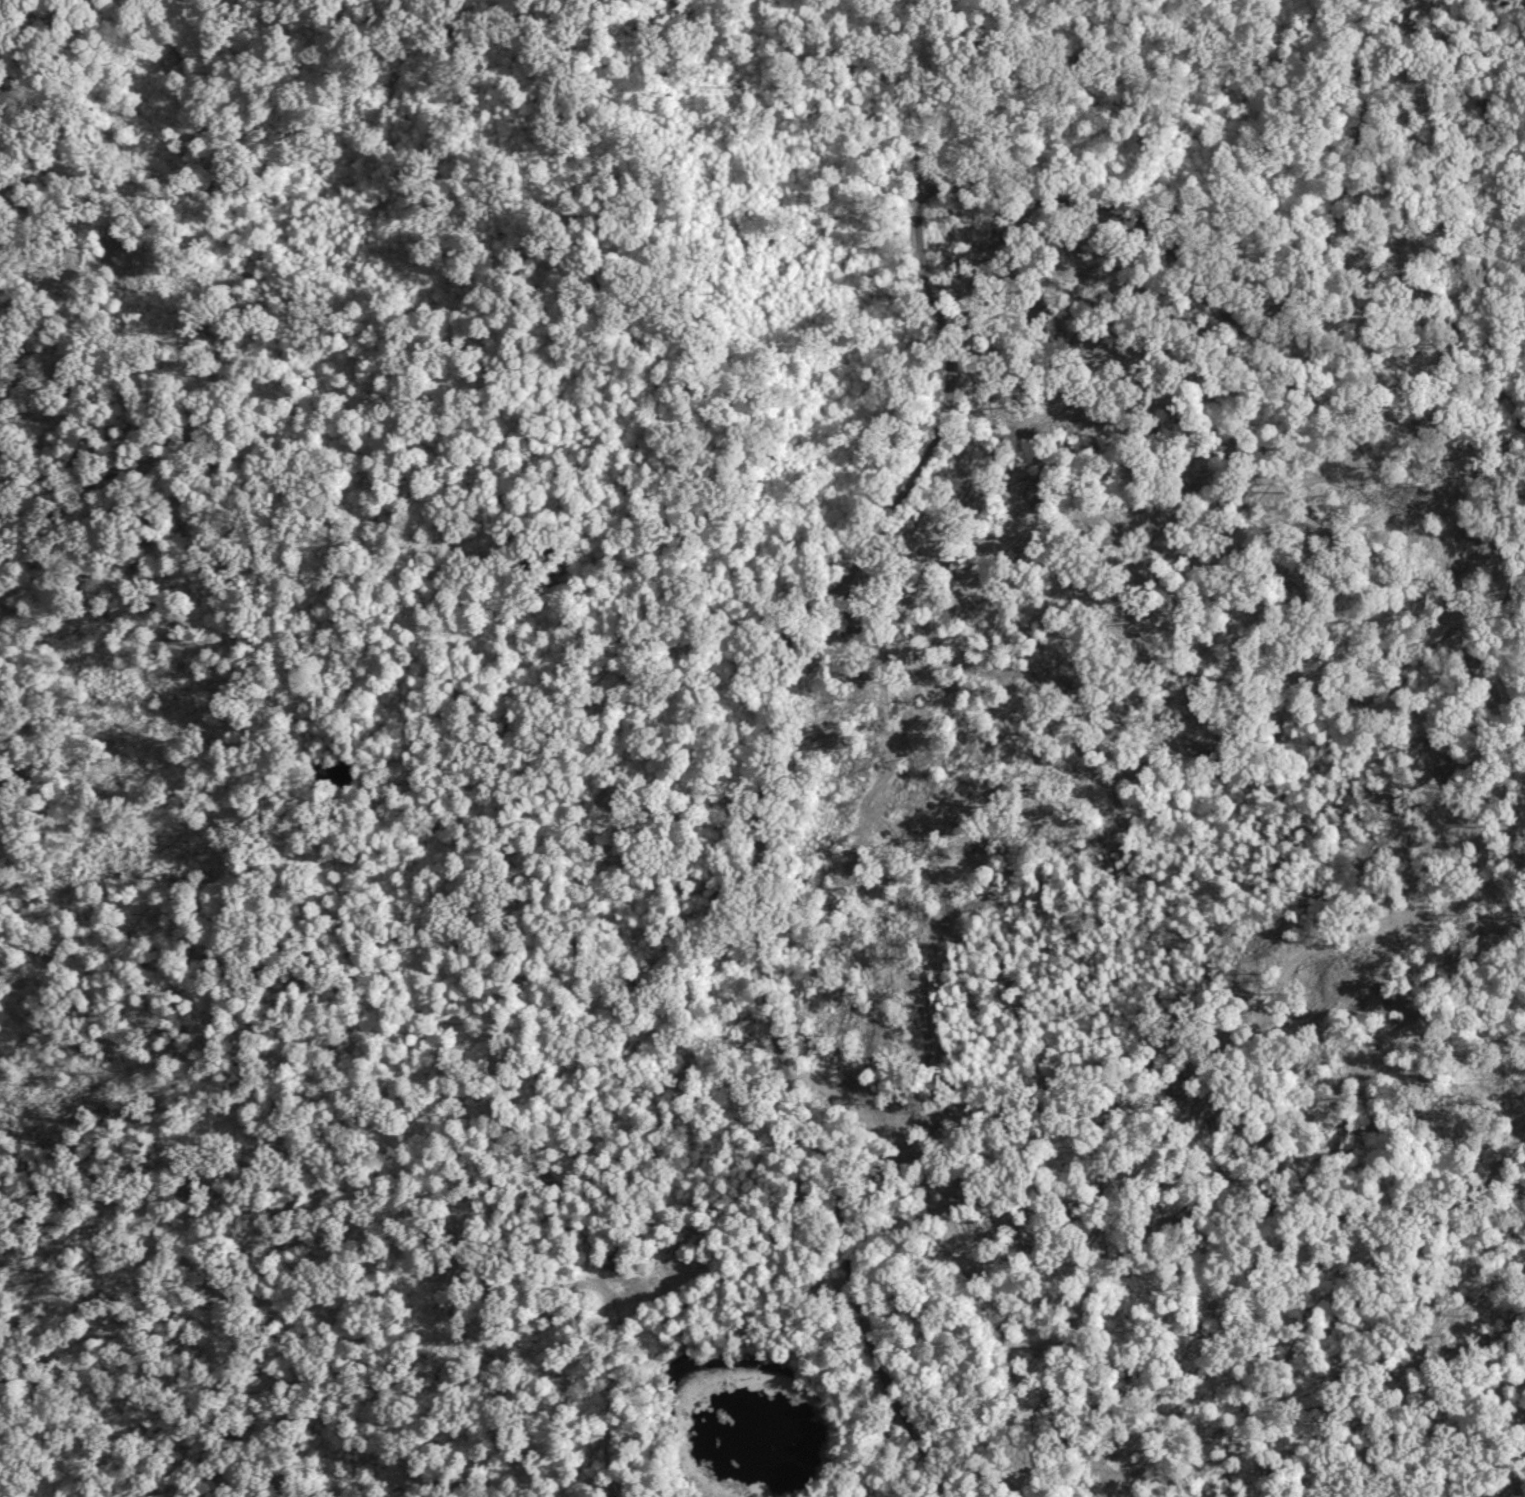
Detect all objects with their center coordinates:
road: (778, 550)

